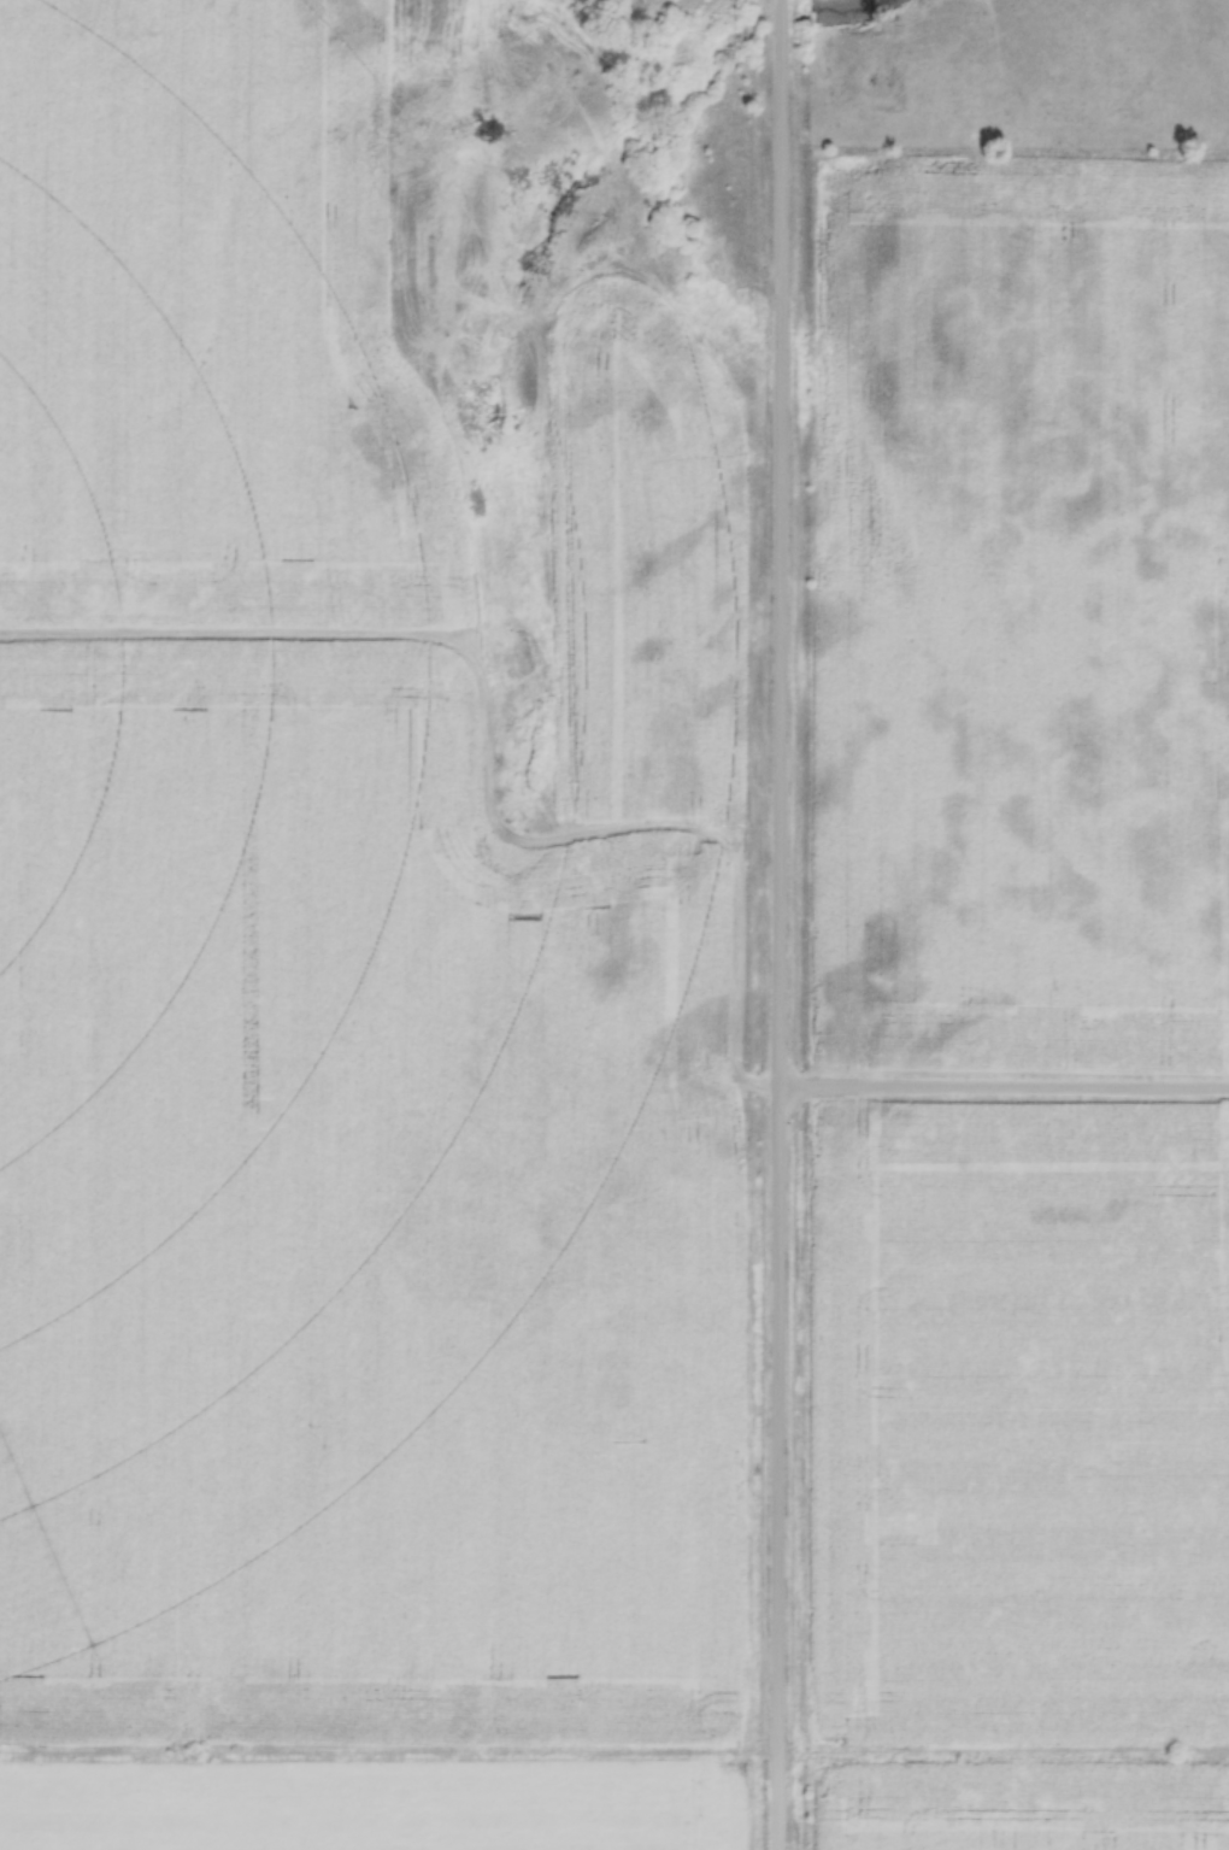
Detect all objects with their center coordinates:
road: (777, 924)
road: (1002, 1087)

